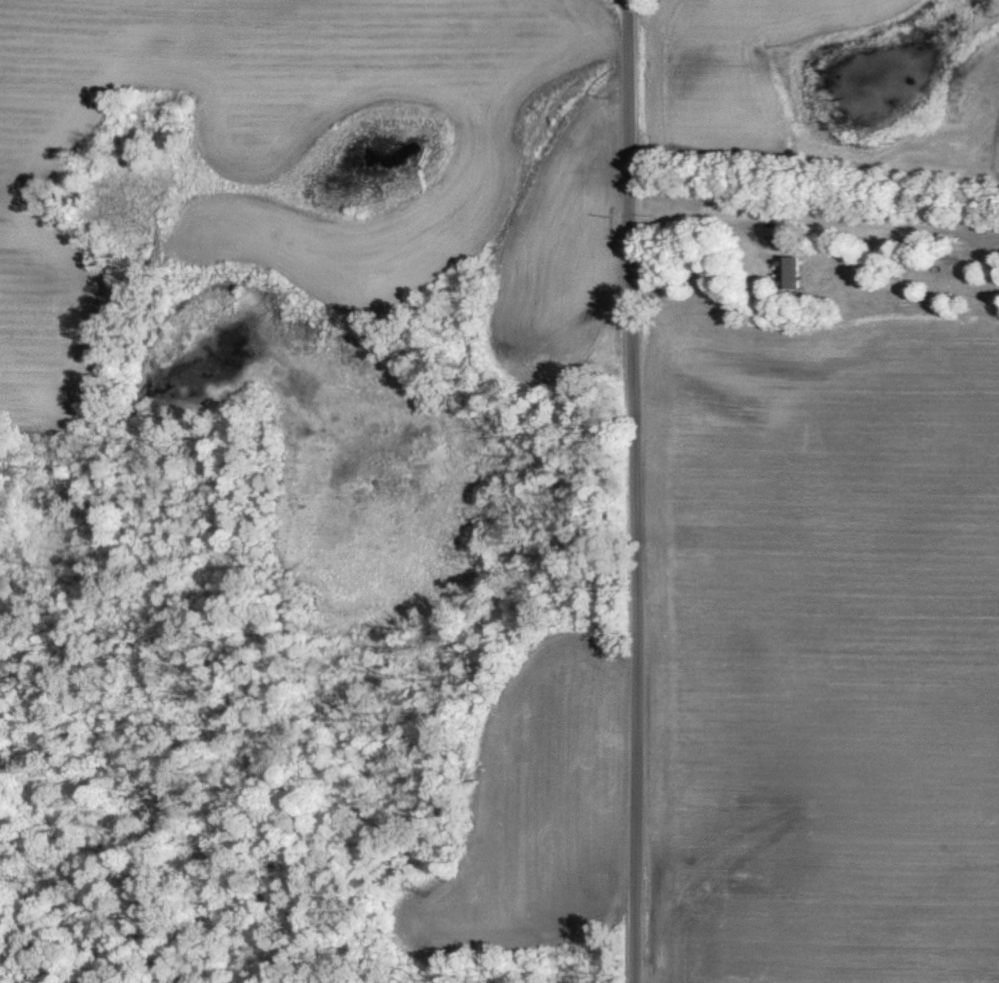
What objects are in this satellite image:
road: (700, 223)
building: (791, 240)
building: (789, 271)
road: (637, 491)

